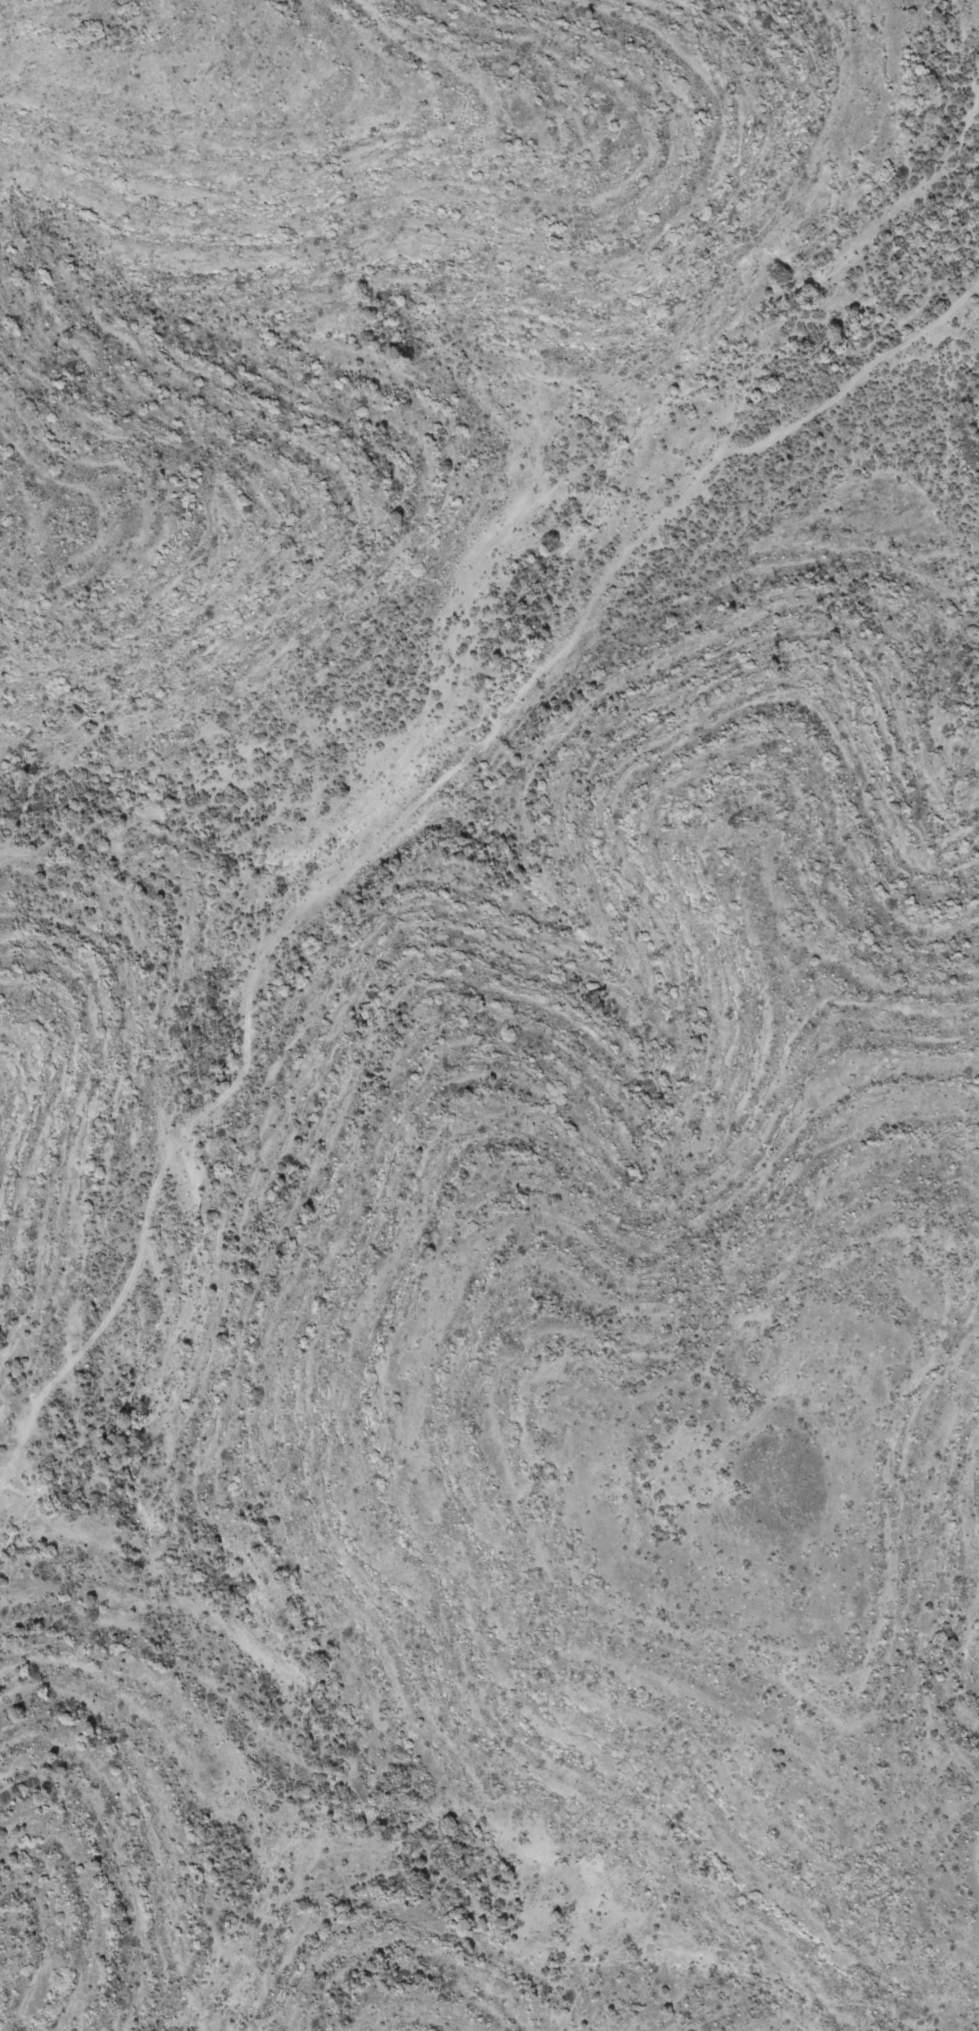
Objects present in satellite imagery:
road: (397, 826)

